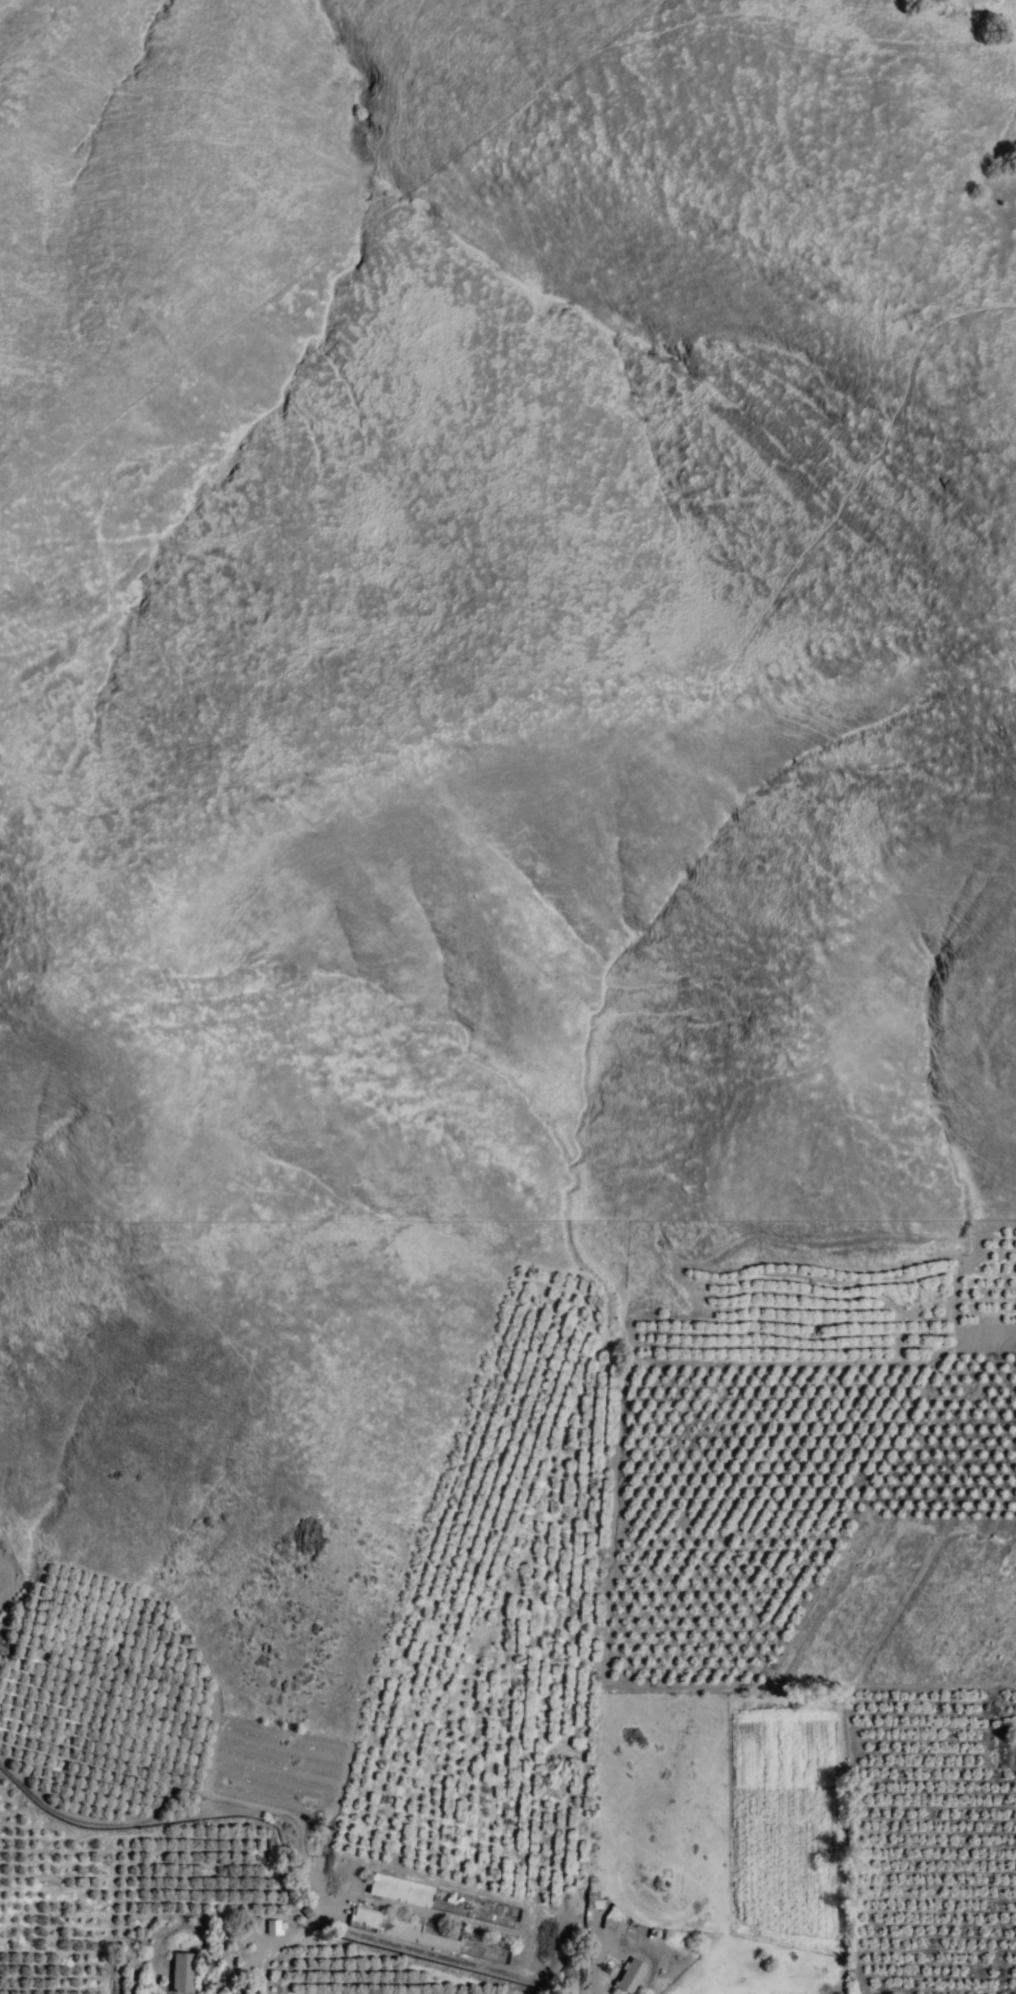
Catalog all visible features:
crop: (580, 1682)
building: (595, 1905)
building: (405, 1930)
building: (183, 1973)
building: (631, 1976)

